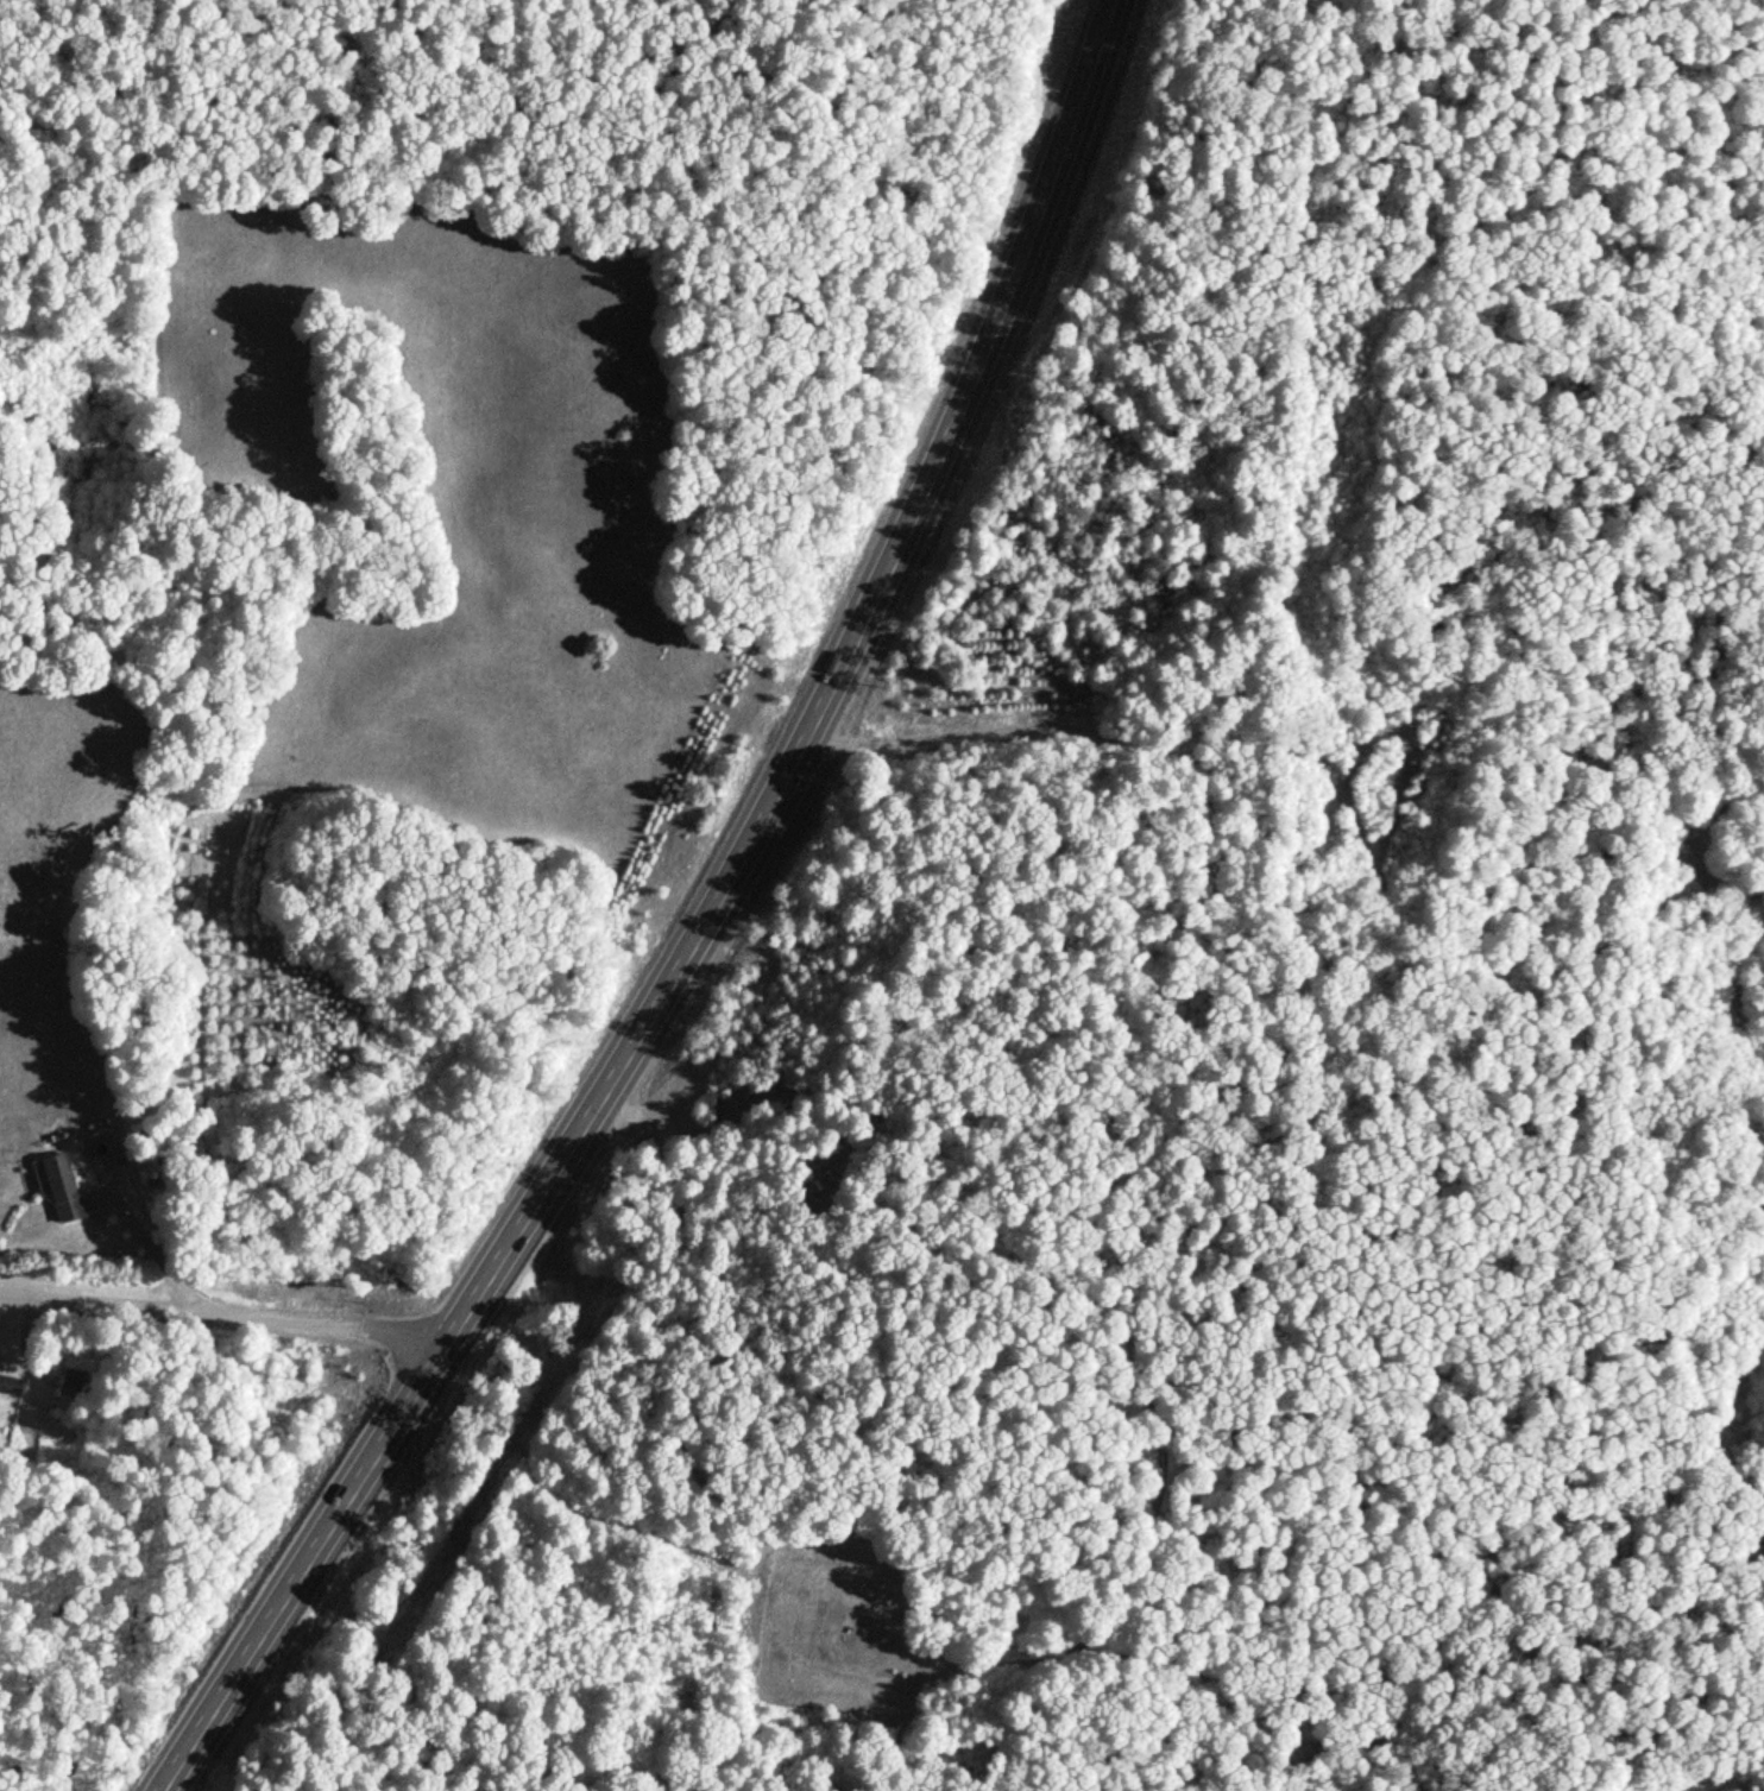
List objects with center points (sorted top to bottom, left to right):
road: (689, 927)
building: (61, 1185)
road: (222, 1310)
building: (10, 1380)
building: (73, 1386)

